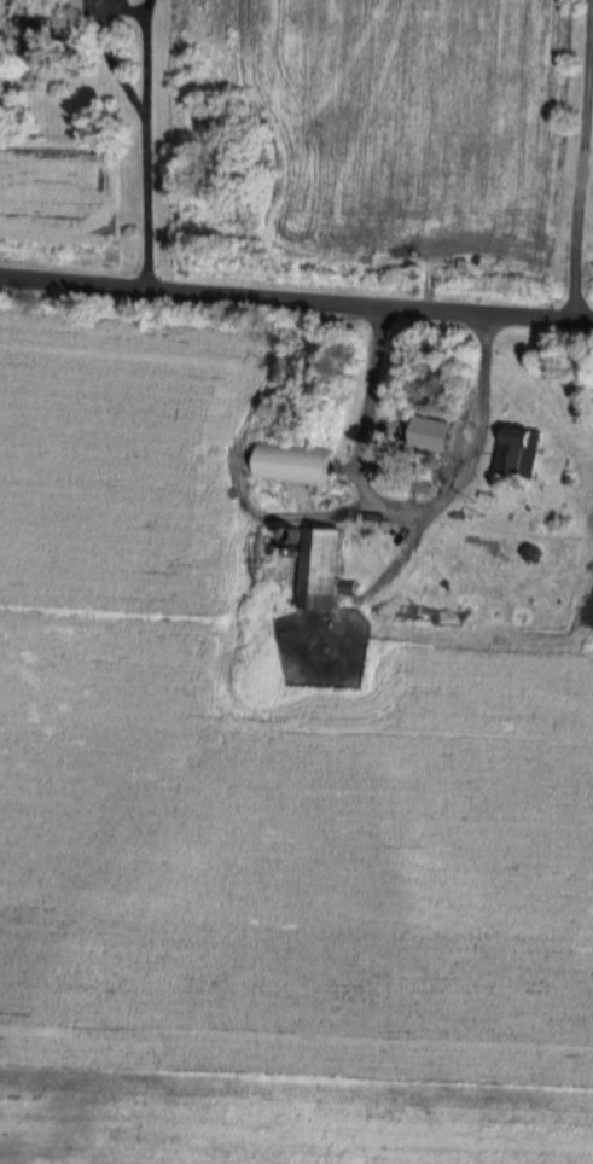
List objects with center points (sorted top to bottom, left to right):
road: (585, 155)
road: (296, 291)
building: (519, 449)
building: (293, 462)
building: (424, 479)
road: (409, 494)
building: (322, 569)

